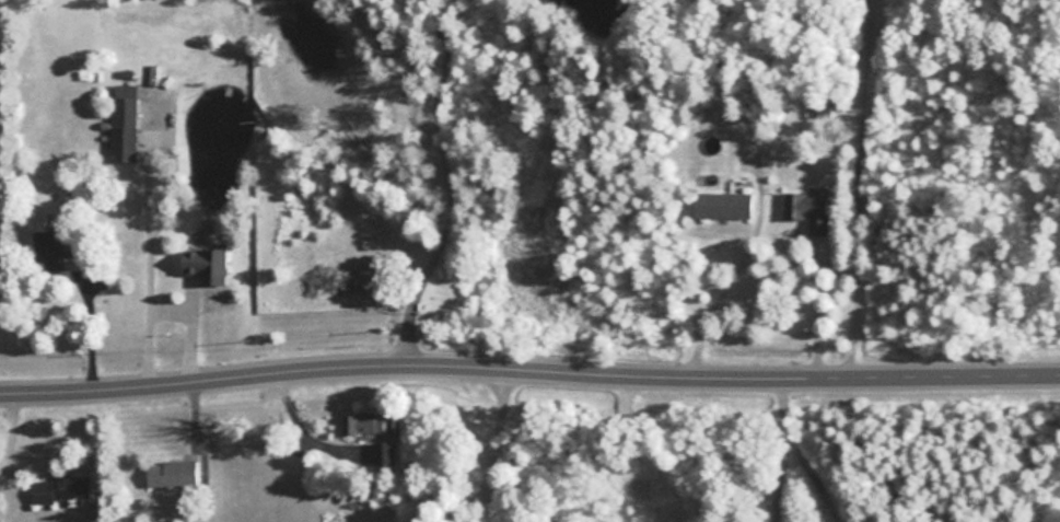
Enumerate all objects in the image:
building: (123, 142)
road: (443, 176)
road: (853, 184)
building: (723, 205)
building: (807, 211)
building: (54, 247)
building: (202, 263)
road: (718, 289)
road: (814, 304)
road: (162, 311)
road: (86, 325)
road: (528, 357)
building: (371, 425)
road: (296, 429)
road: (494, 438)
road: (5, 444)
road: (780, 444)
building: (170, 472)
building: (59, 487)

